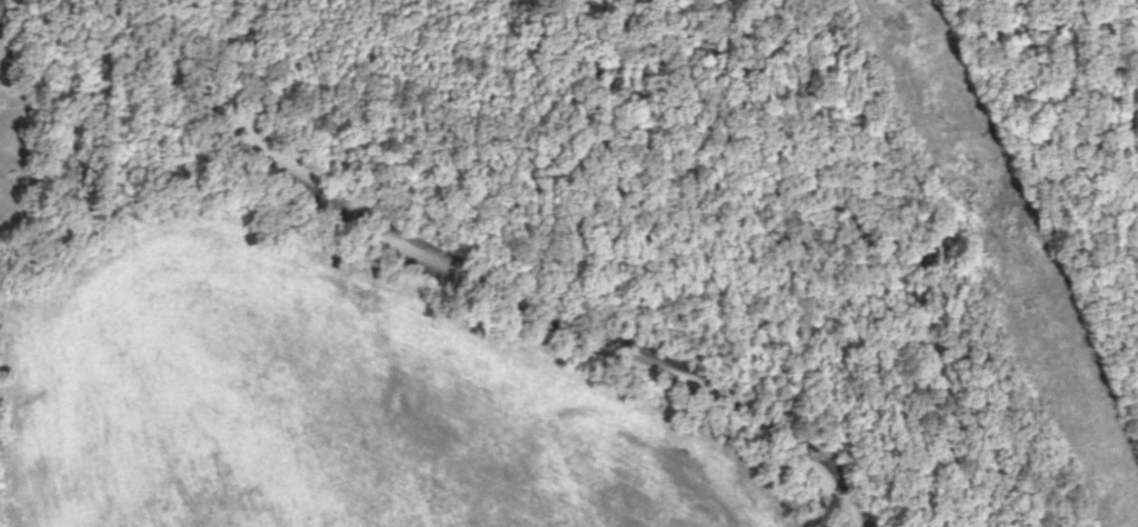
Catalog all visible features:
park: (20, 127)

